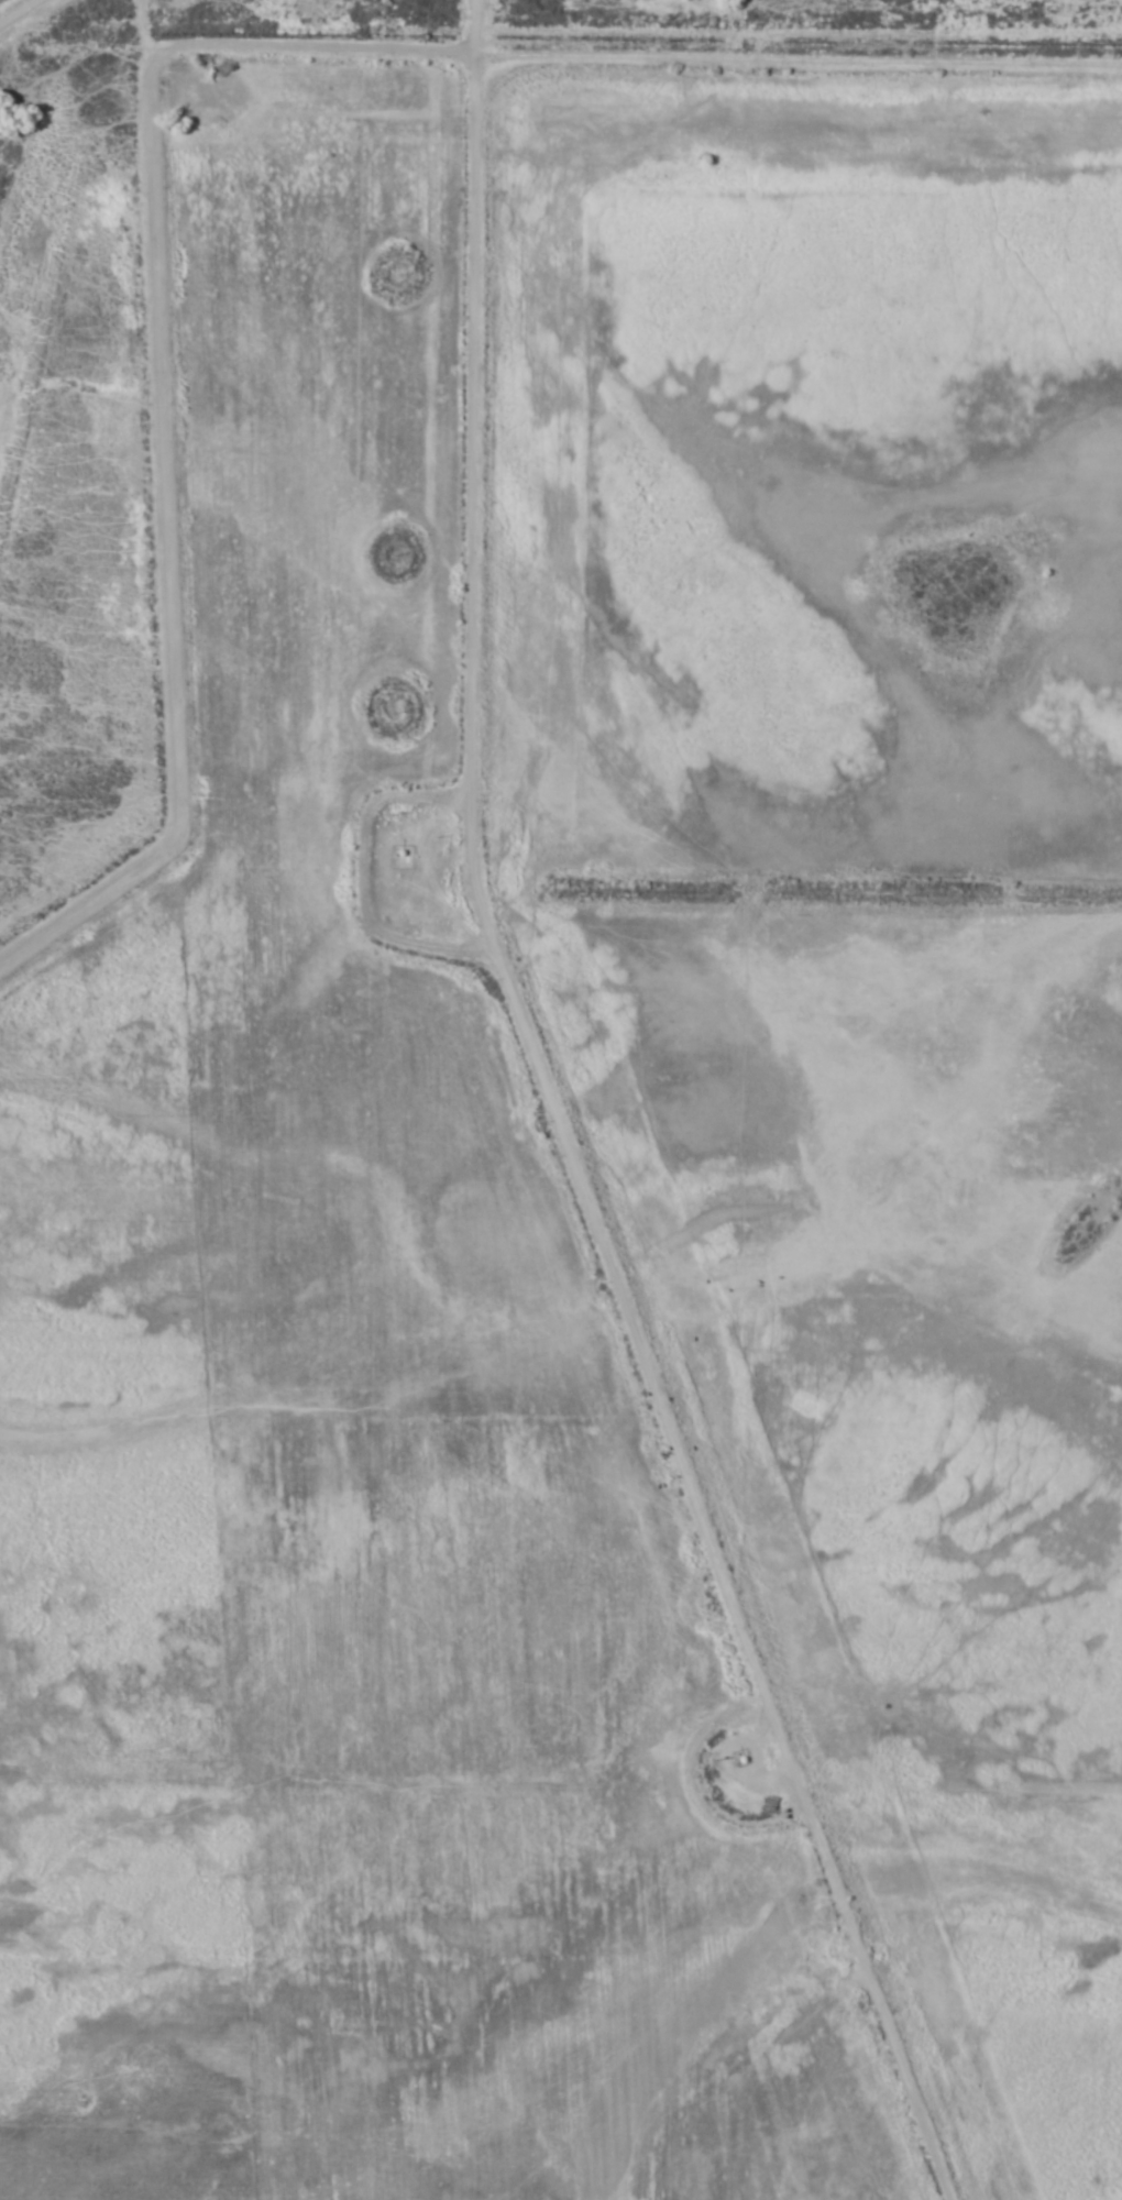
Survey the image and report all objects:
road: (624, 40)

